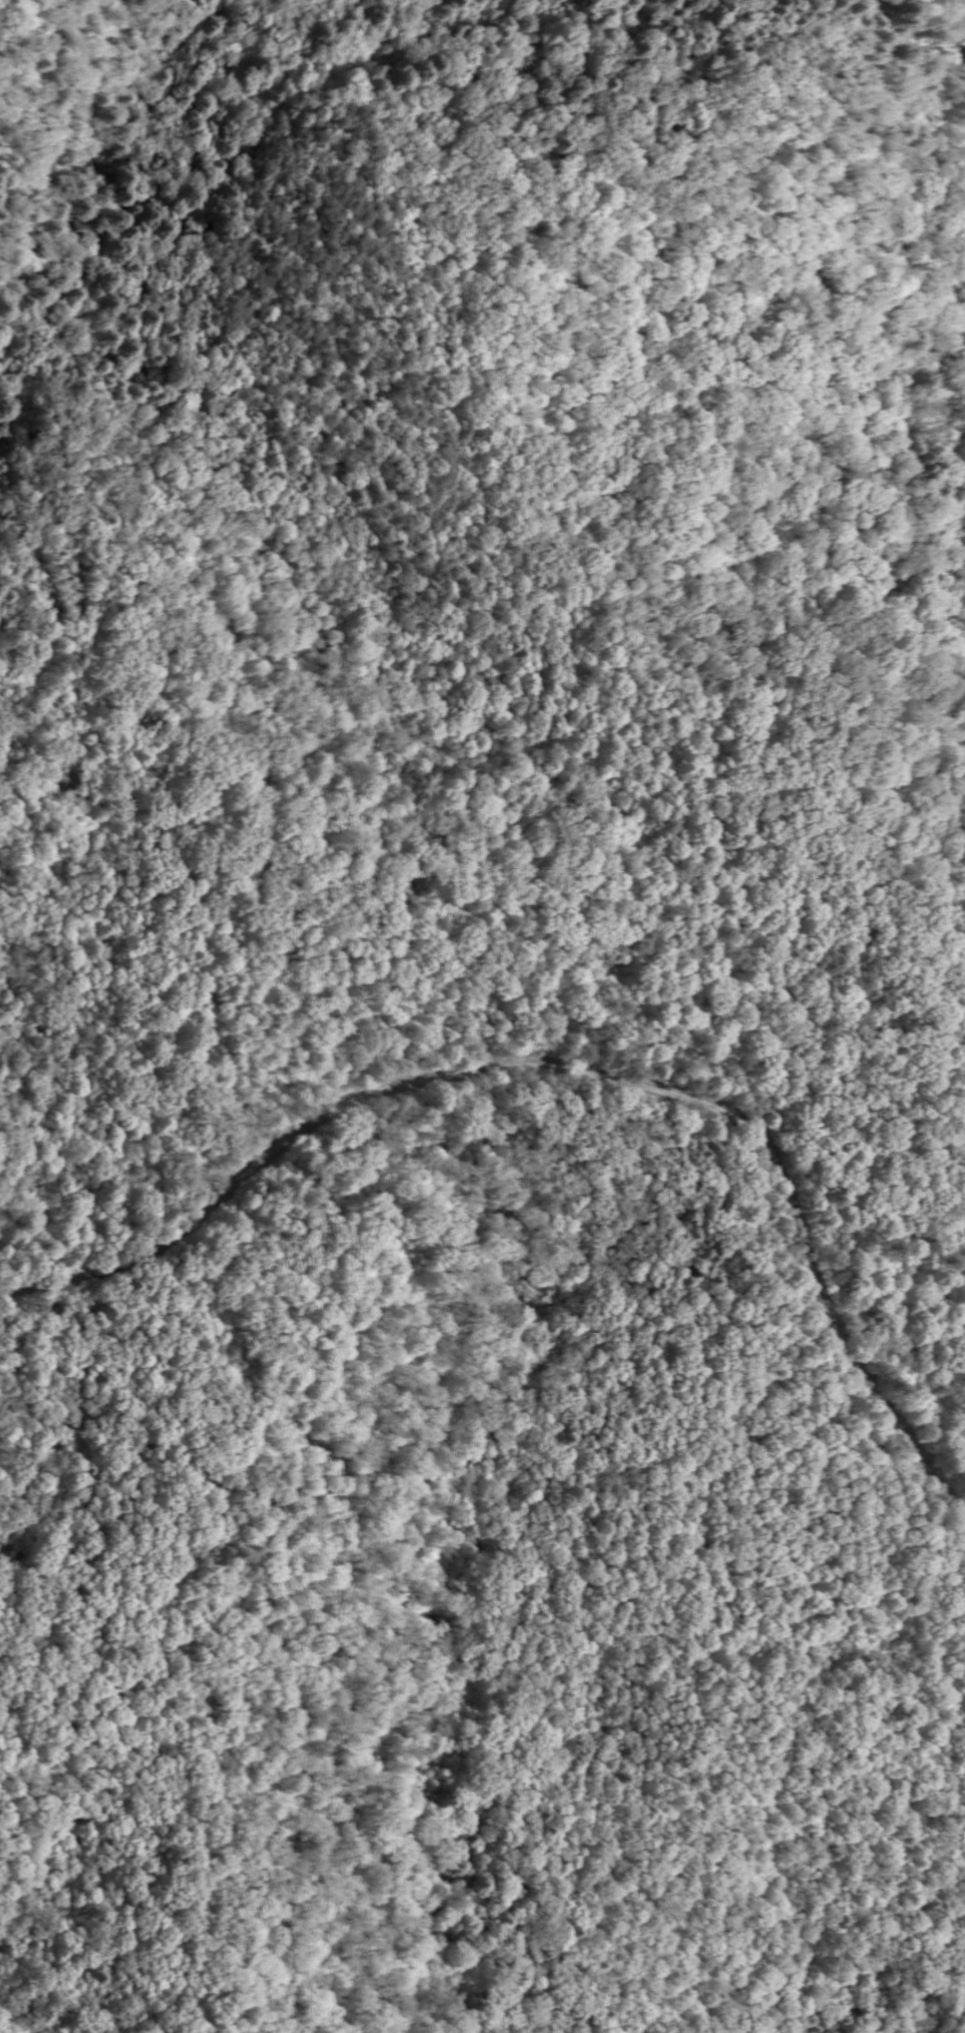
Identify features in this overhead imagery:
road: (575, 1070)

